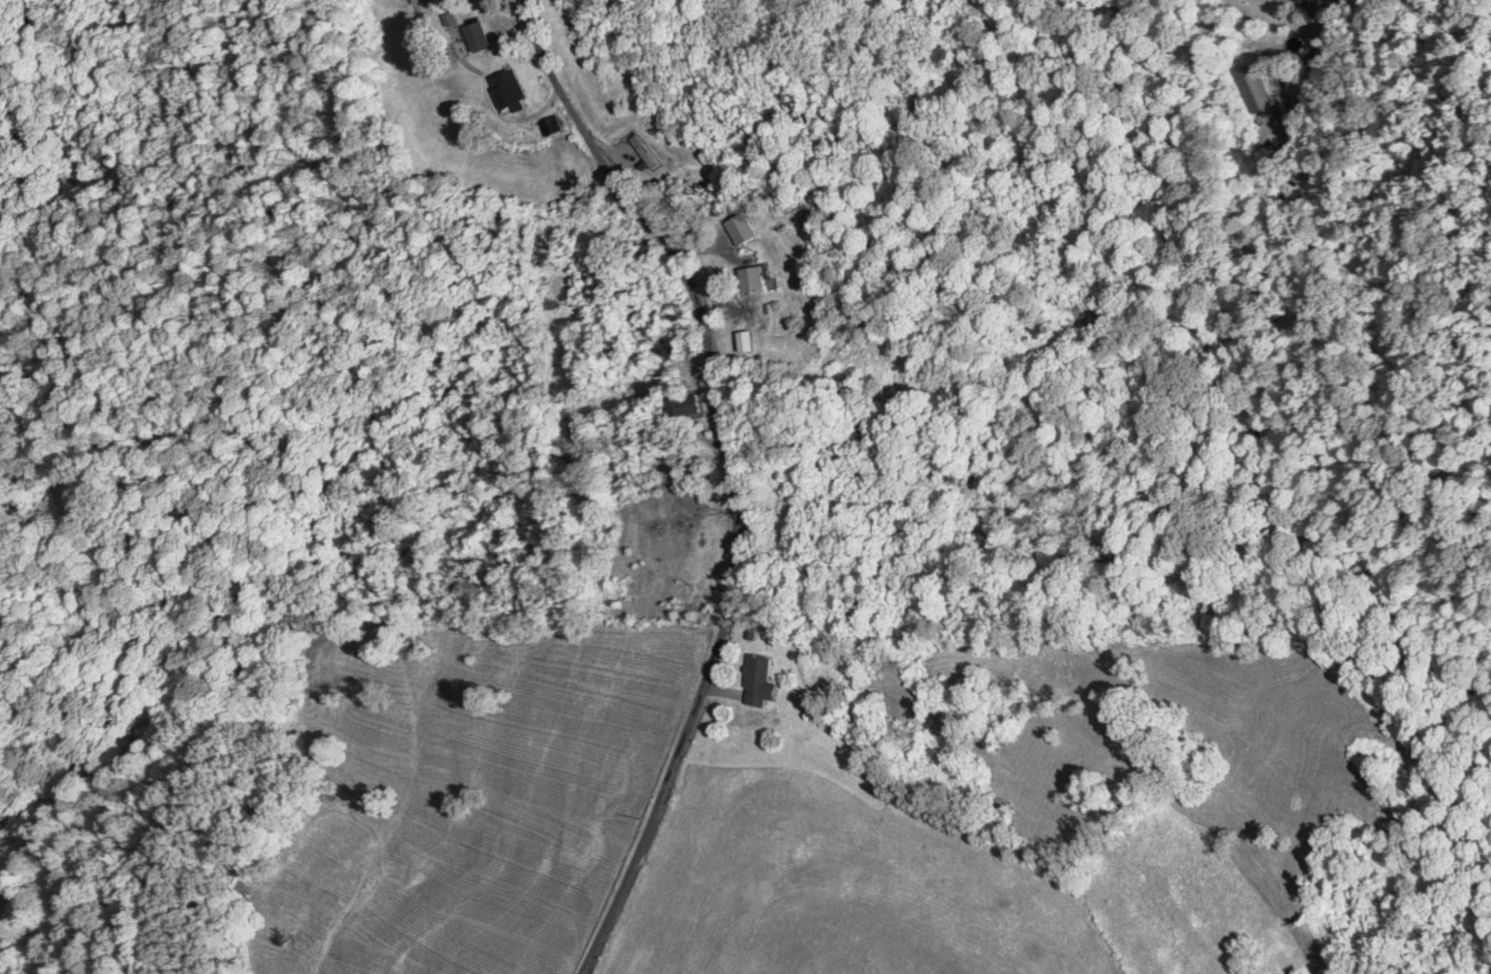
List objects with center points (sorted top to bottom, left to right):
building: (1305, 2)
building: (478, 36)
building: (509, 92)
building: (551, 126)
building: (646, 151)
building: (741, 229)
building: (753, 279)
building: (747, 341)
building: (685, 405)
road: (732, 475)
building: (761, 682)

